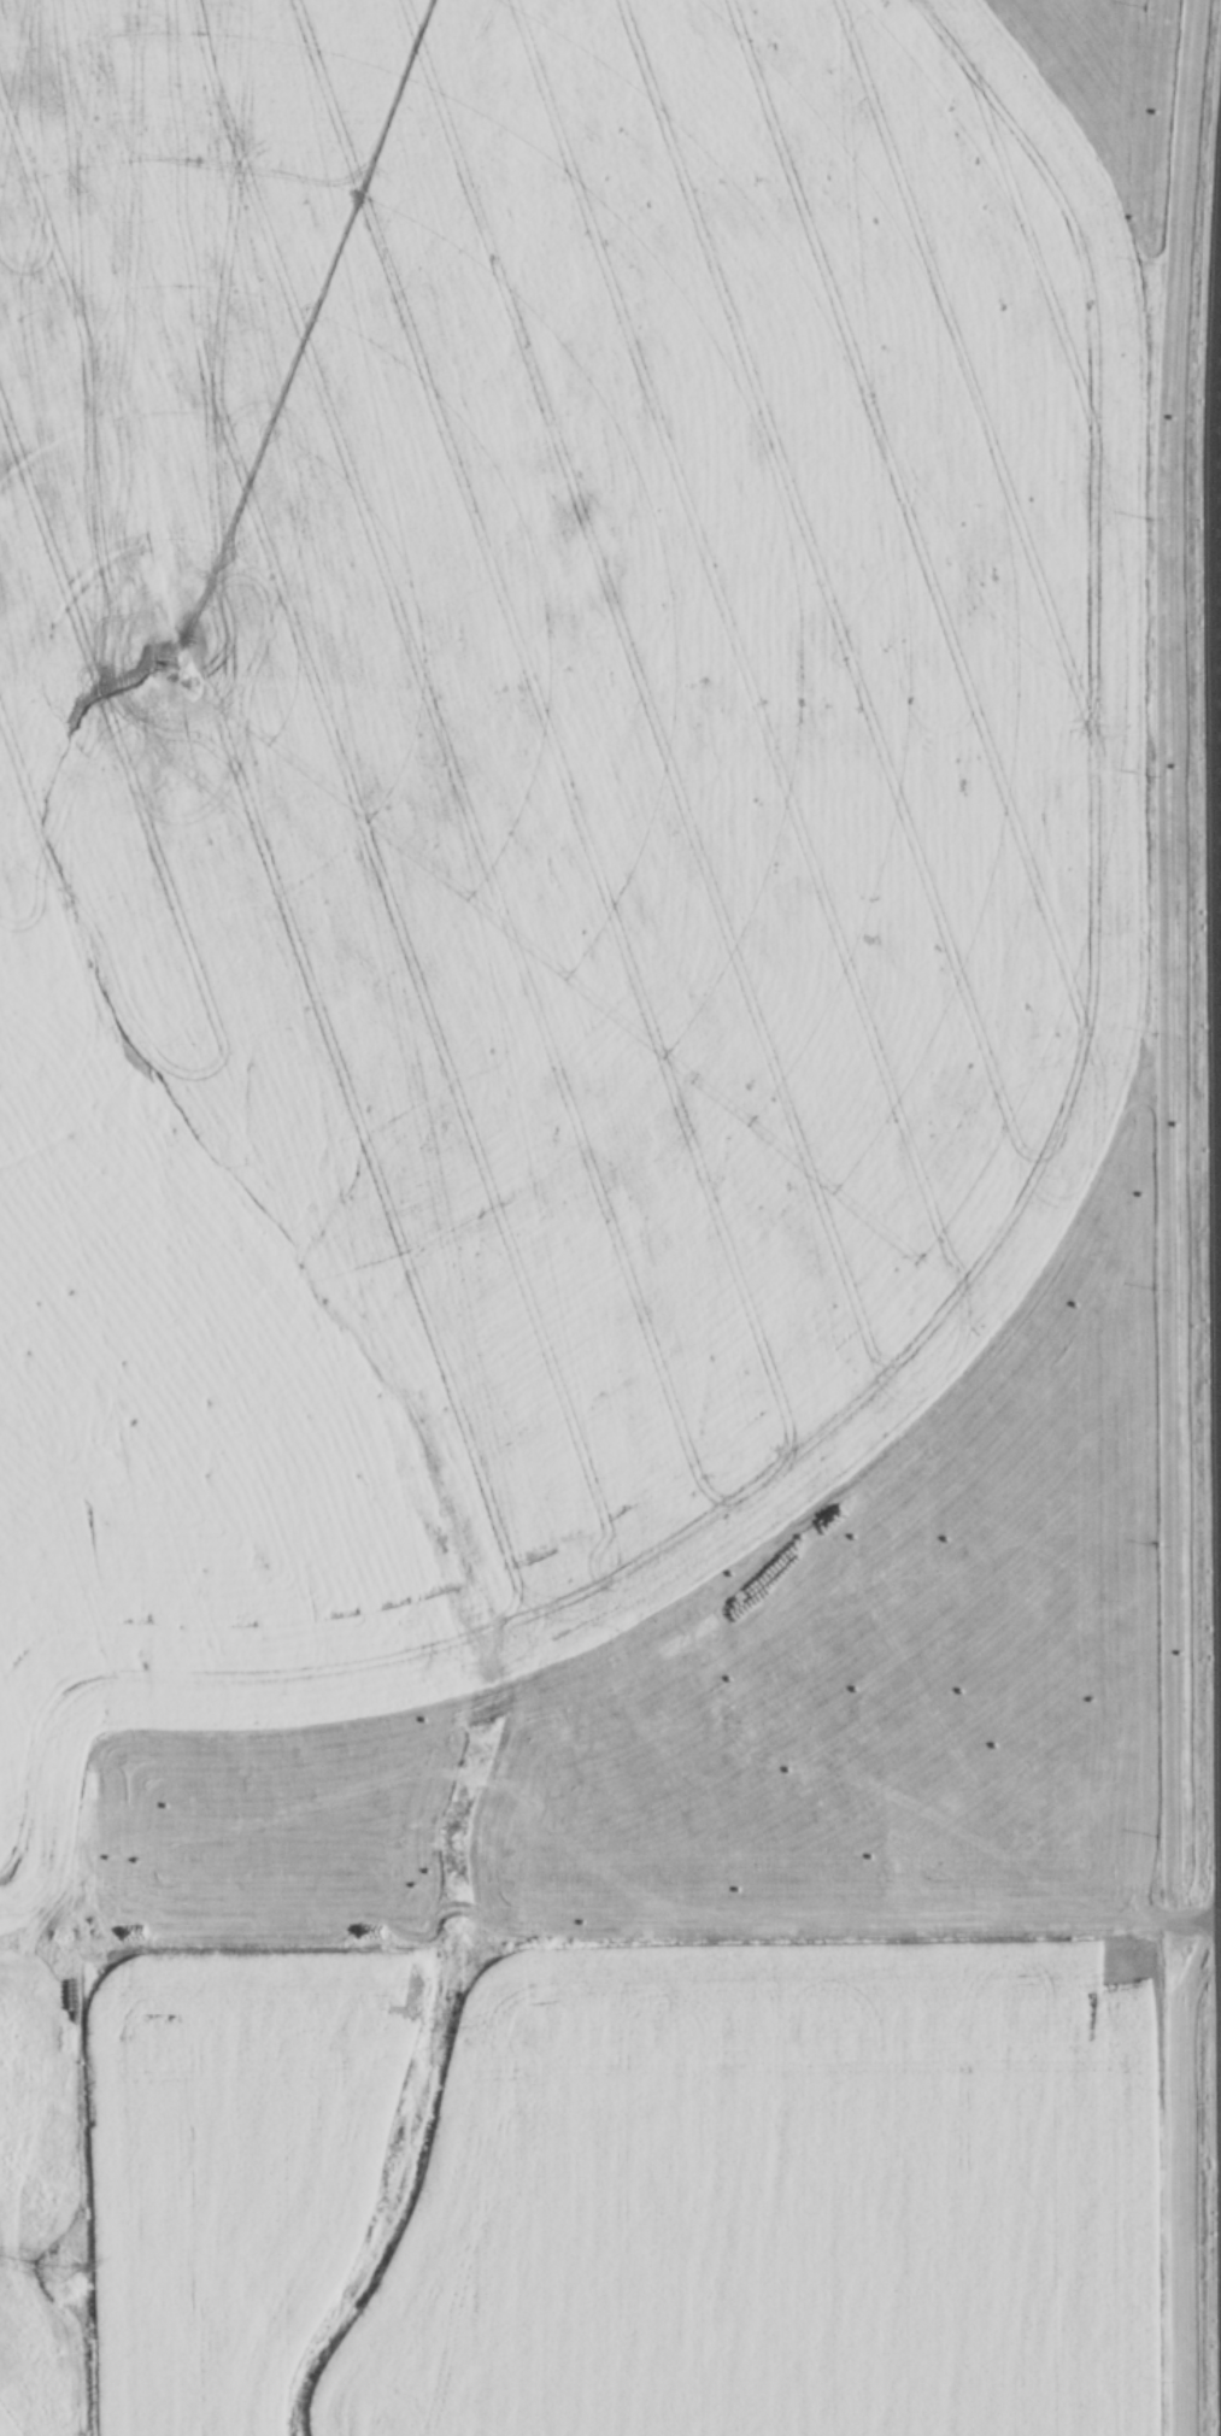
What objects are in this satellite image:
road: (1220, 450)
power tower: (54, 2268)

